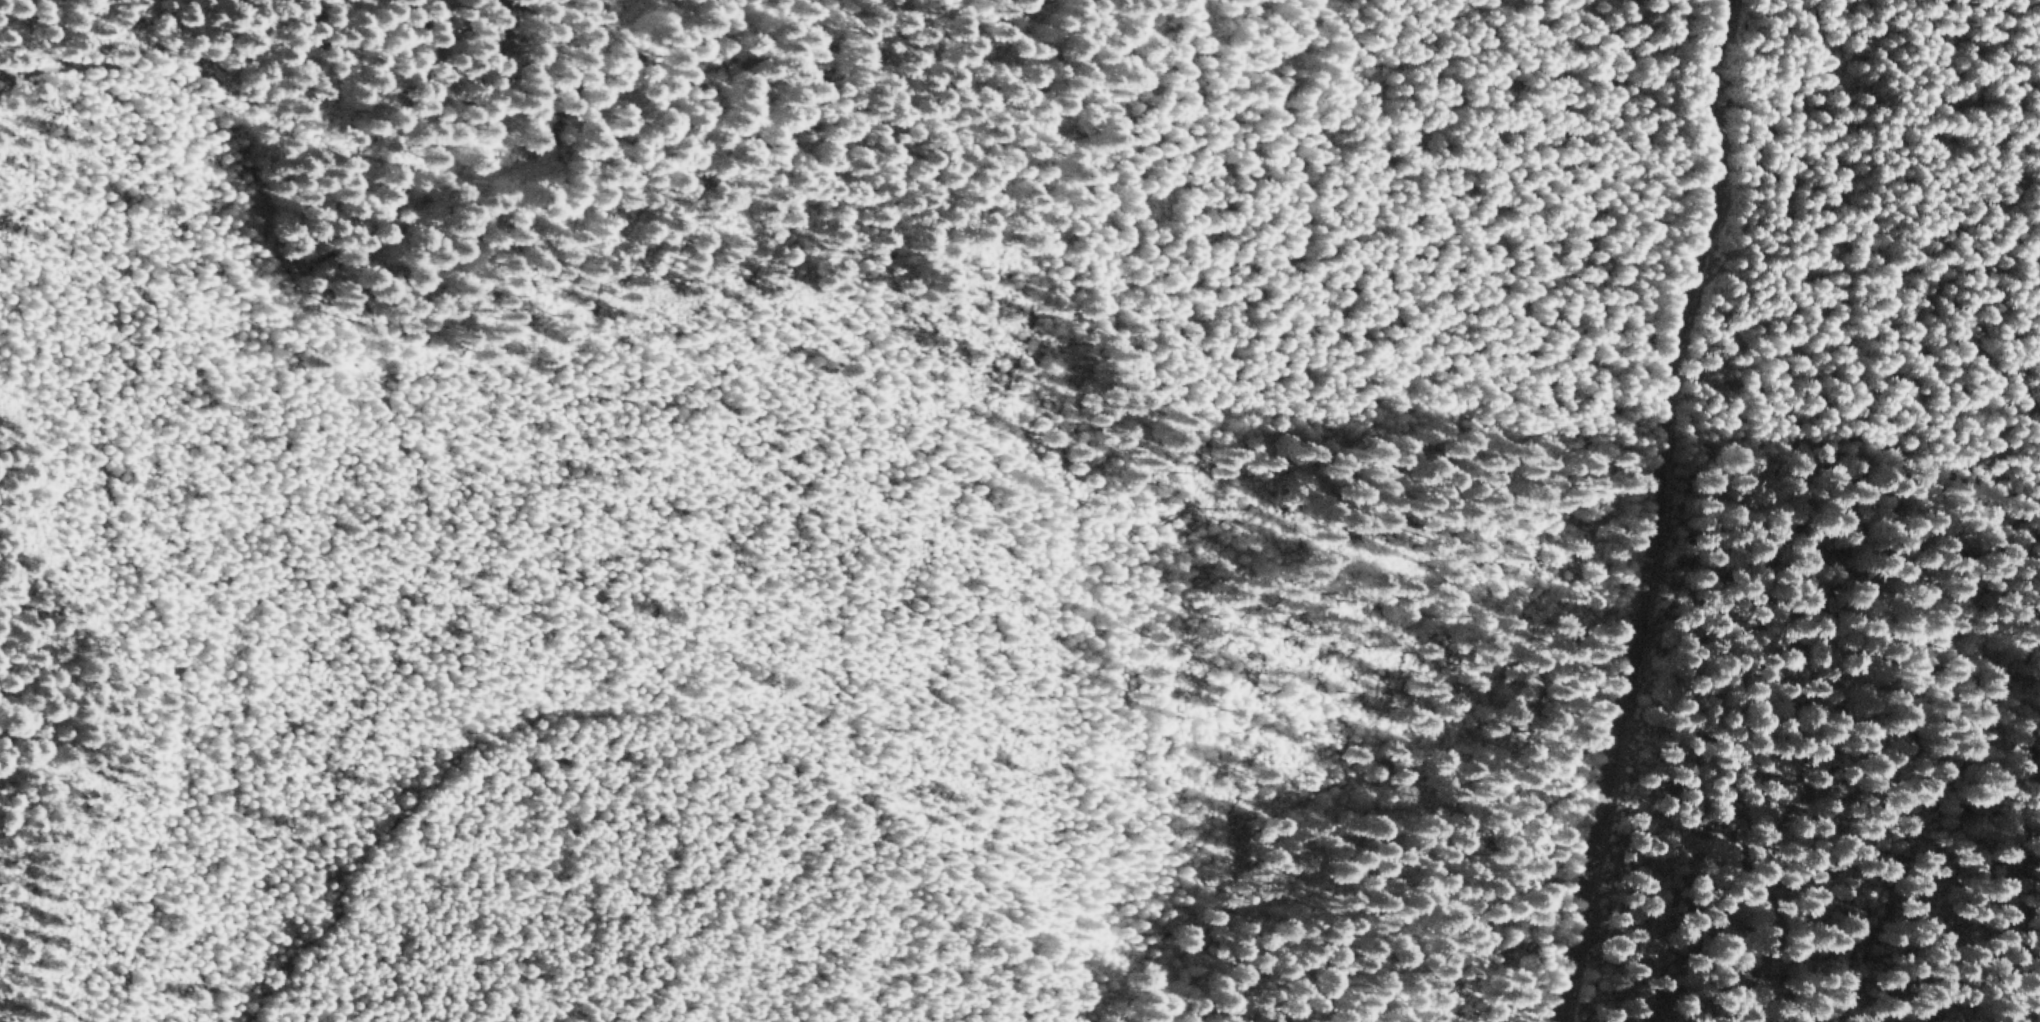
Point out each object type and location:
road: (1649, 512)

